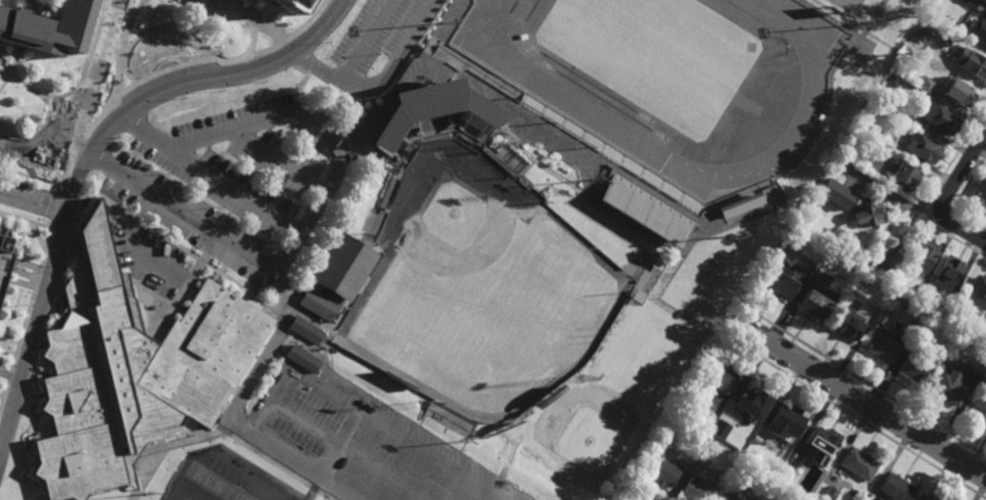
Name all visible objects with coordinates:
building: (269, 0)
building: (969, 1)
track: (498, 2)
road: (37, 5)
building: (292, 5)
park: (849, 5)
track: (514, 6)
park: (513, 8)
track: (531, 11)
track: (722, 14)
track: (752, 15)
road: (257, 19)
park: (636, 24)
building: (45, 26)
park: (521, 29)
building: (979, 29)
parking lot: (375, 32)
road: (255, 36)
road: (368, 37)
park: (532, 46)
park: (693, 47)
park: (656, 54)
park: (765, 57)
park: (782, 57)
building: (940, 58)
park: (677, 62)
building: (971, 62)
road: (194, 63)
park: (547, 65)
road: (12, 69)
road: (383, 76)
road: (209, 77)
building: (893, 77)
track: (589, 82)
building: (925, 84)
road: (69, 92)
building: (958, 92)
road: (92, 94)
park: (737, 96)
road: (46, 99)
track: (604, 100)
track: (569, 102)
road: (301, 106)
track: (764, 113)
building: (428, 115)
park: (645, 117)
building: (939, 118)
park: (661, 136)
building: (887, 136)
building: (923, 148)
road: (282, 154)
building: (869, 164)
road: (961, 173)
building: (902, 174)
road: (31, 177)
road: (235, 190)
road: (73, 191)
road: (932, 192)
building: (834, 193)
building: (979, 194)
parking lot: (227, 195)
road: (895, 197)
road: (34, 199)
road: (959, 201)
building: (740, 203)
road: (57, 206)
building: (646, 211)
building: (866, 213)
road: (25, 221)
road: (63, 226)
road: (964, 230)
road: (38, 237)
road: (174, 244)
building: (889, 254)
building: (922, 255)
road: (263, 256)
building: (856, 256)
building: (867, 260)
building: (6, 263)
parking garage: (6, 263)
building: (947, 271)
building: (337, 277)
road: (176, 278)
building: (779, 284)
building: (916, 286)
park: (481, 290)
building: (977, 293)
building: (852, 299)
building: (903, 302)
building: (815, 303)
road: (40, 305)
road: (26, 318)
road: (166, 325)
building: (845, 325)
building: (305, 330)
road: (43, 331)
building: (982, 334)
building: (880, 347)
building: (208, 352)
building: (302, 358)
building: (956, 363)
building: (914, 369)
building: (722, 378)
building: (98, 384)
road: (868, 386)
building: (948, 390)
road: (2, 396)
road: (865, 402)
building: (754, 403)
building: (976, 411)
road: (363, 413)
building: (788, 419)
road: (858, 419)
building: (707, 420)
building: (721, 429)
road: (341, 443)
parking lot: (364, 444)
building: (822, 445)
road: (349, 449)
building: (706, 455)
building: (858, 464)
road: (308, 466)
building: (662, 472)
park: (208, 486)
building: (896, 488)
building: (696, 491)
building: (780, 494)
building: (830, 494)
building: (728, 497)
road: (634, 498)
building: (928, 498)

